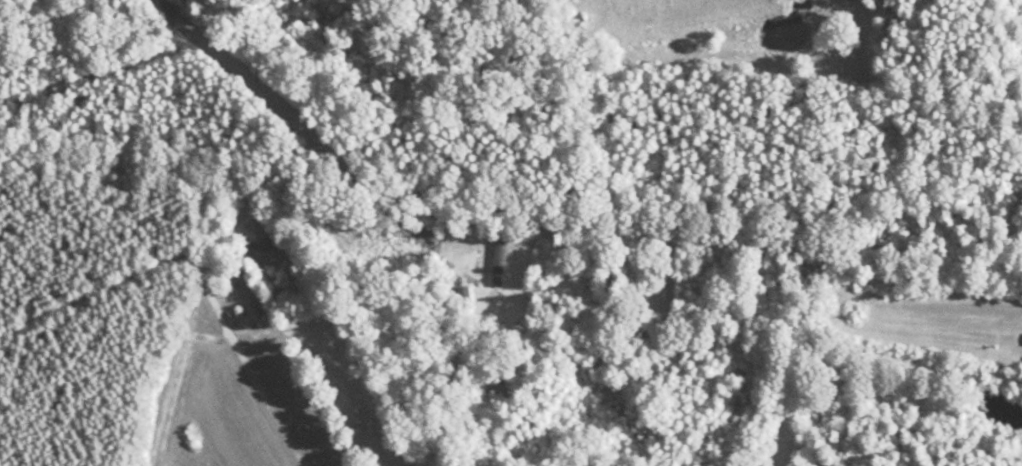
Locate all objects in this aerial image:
road: (511, 180)
building: (479, 253)

